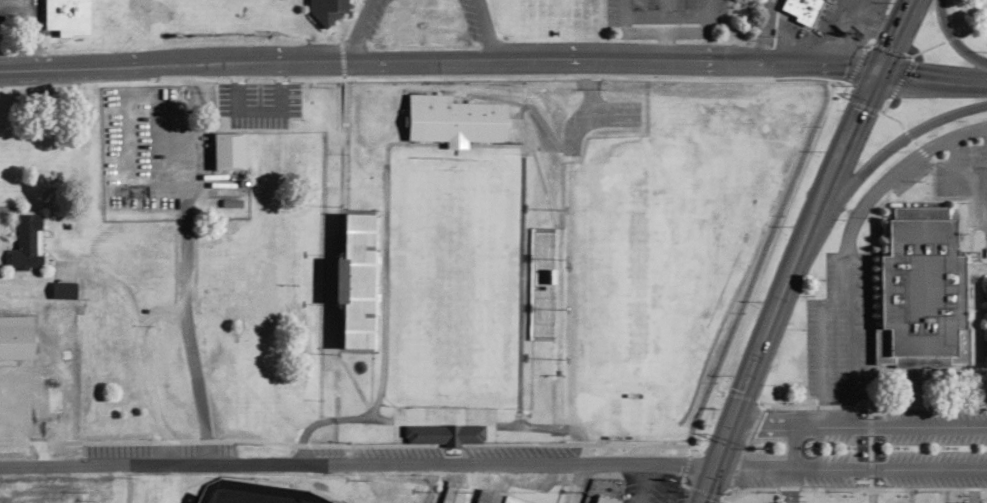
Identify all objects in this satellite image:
building: (756, 4)
building: (325, 10)
building: (65, 14)
road: (952, 39)
road: (494, 61)
building: (374, 111)
building: (465, 122)
building: (227, 148)
road: (875, 155)
road: (845, 236)
building: (355, 240)
building: (25, 242)
road: (798, 248)
building: (541, 282)
building: (920, 286)
building: (61, 289)
building: (15, 336)
road: (931, 404)
road: (858, 423)
building: (443, 433)
road: (791, 462)
road: (356, 467)
road: (849, 468)
road: (907, 490)
building: (496, 497)
building: (597, 498)
building: (454, 501)
building: (974, 502)

